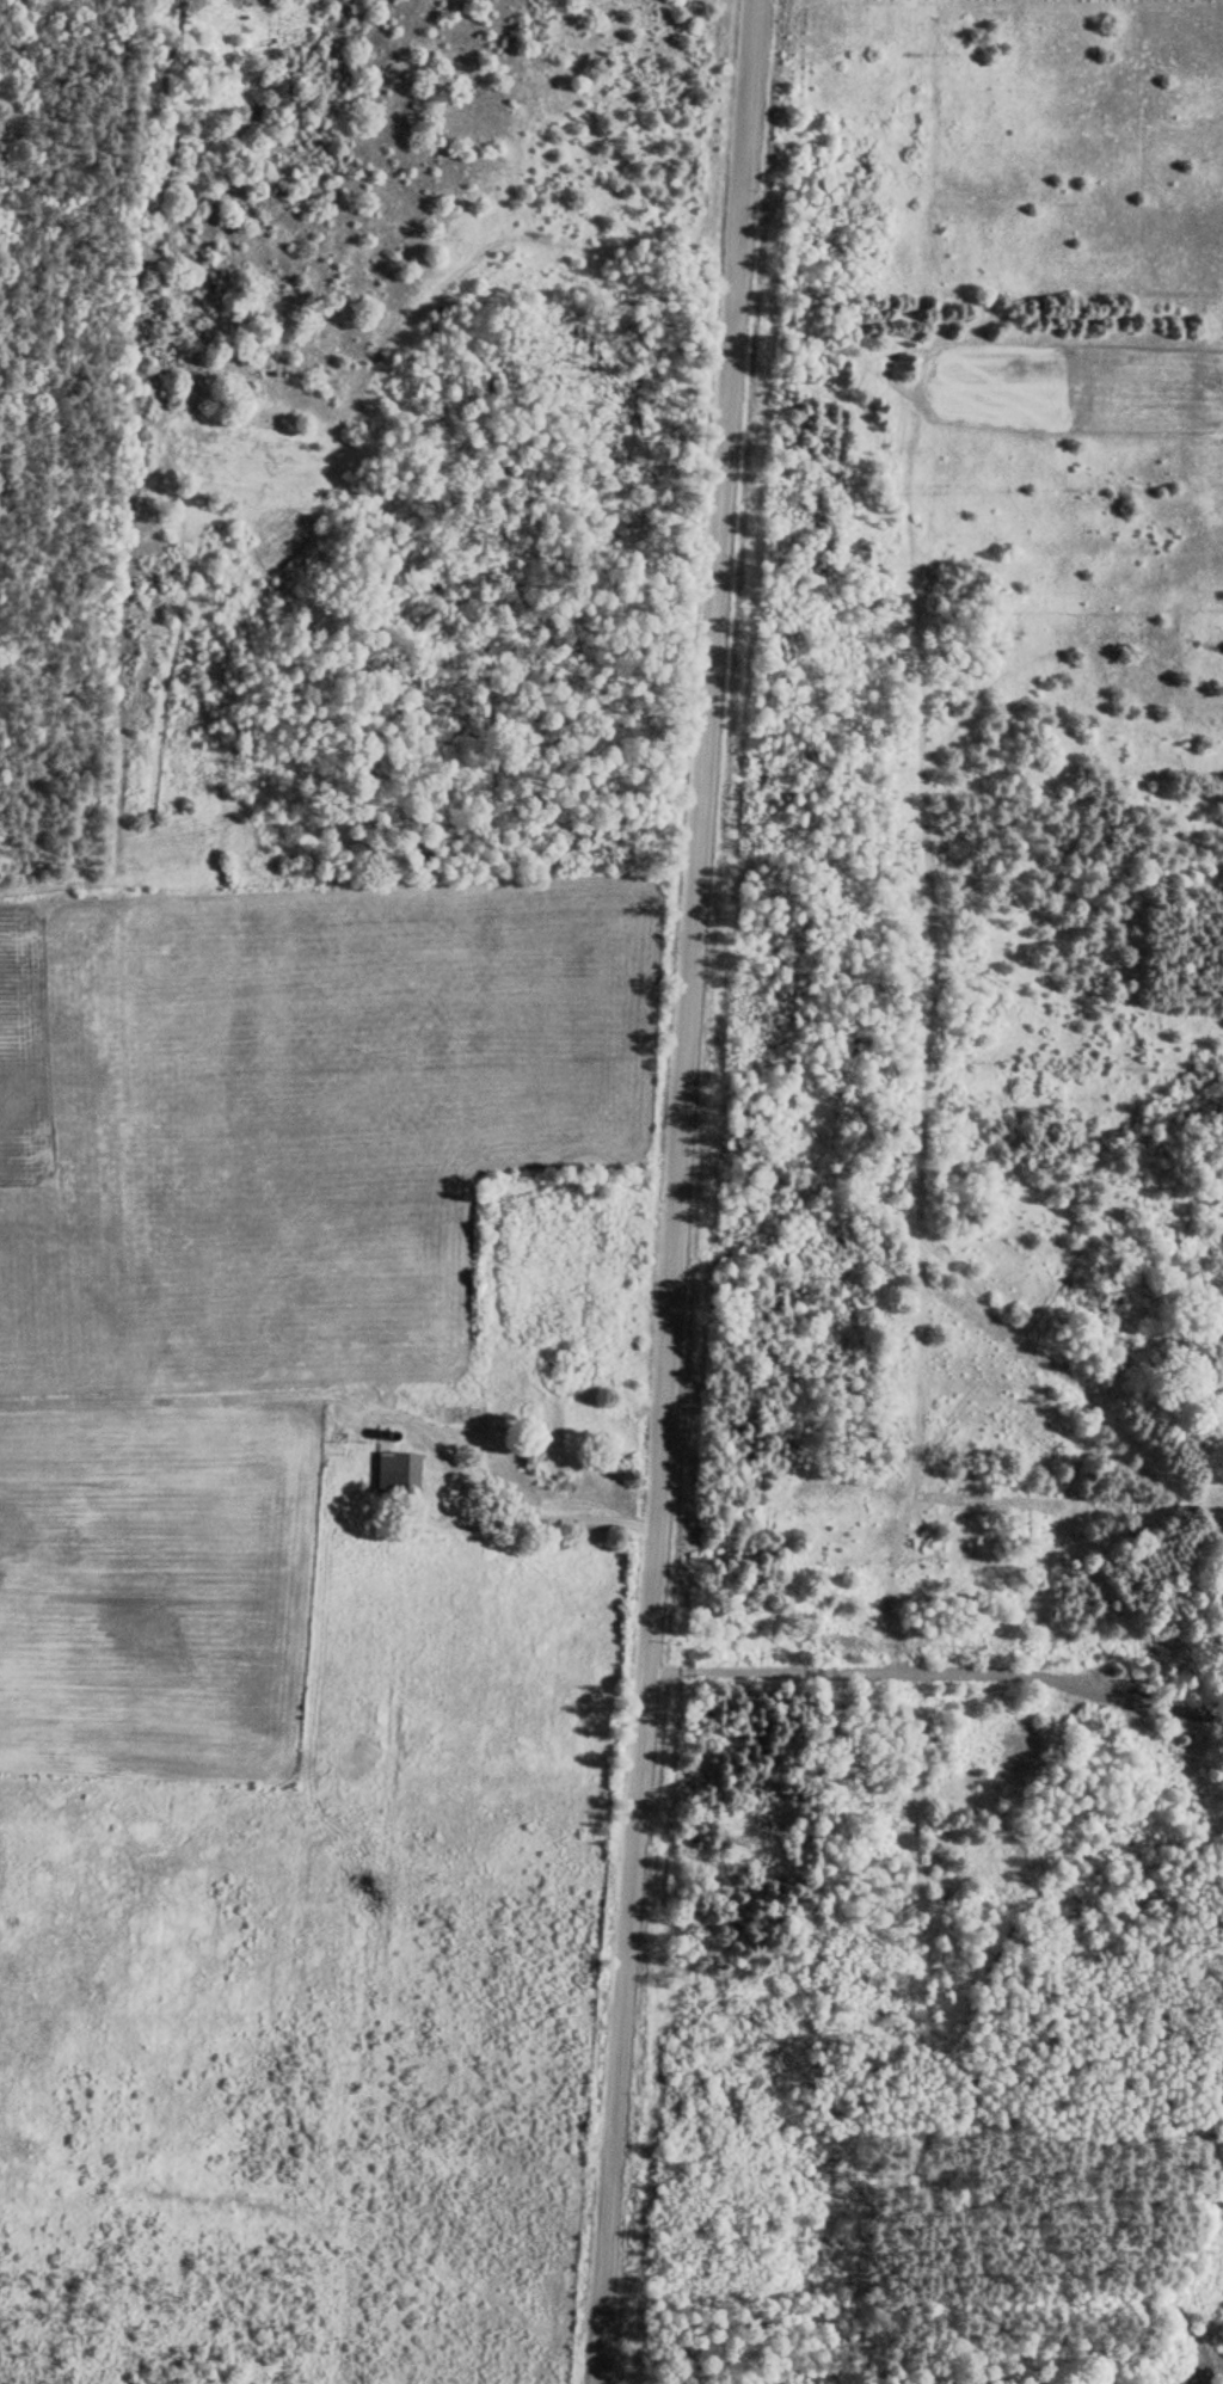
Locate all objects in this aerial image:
crop: (296, 1116)
road: (669, 1192)
building: (394, 1473)

